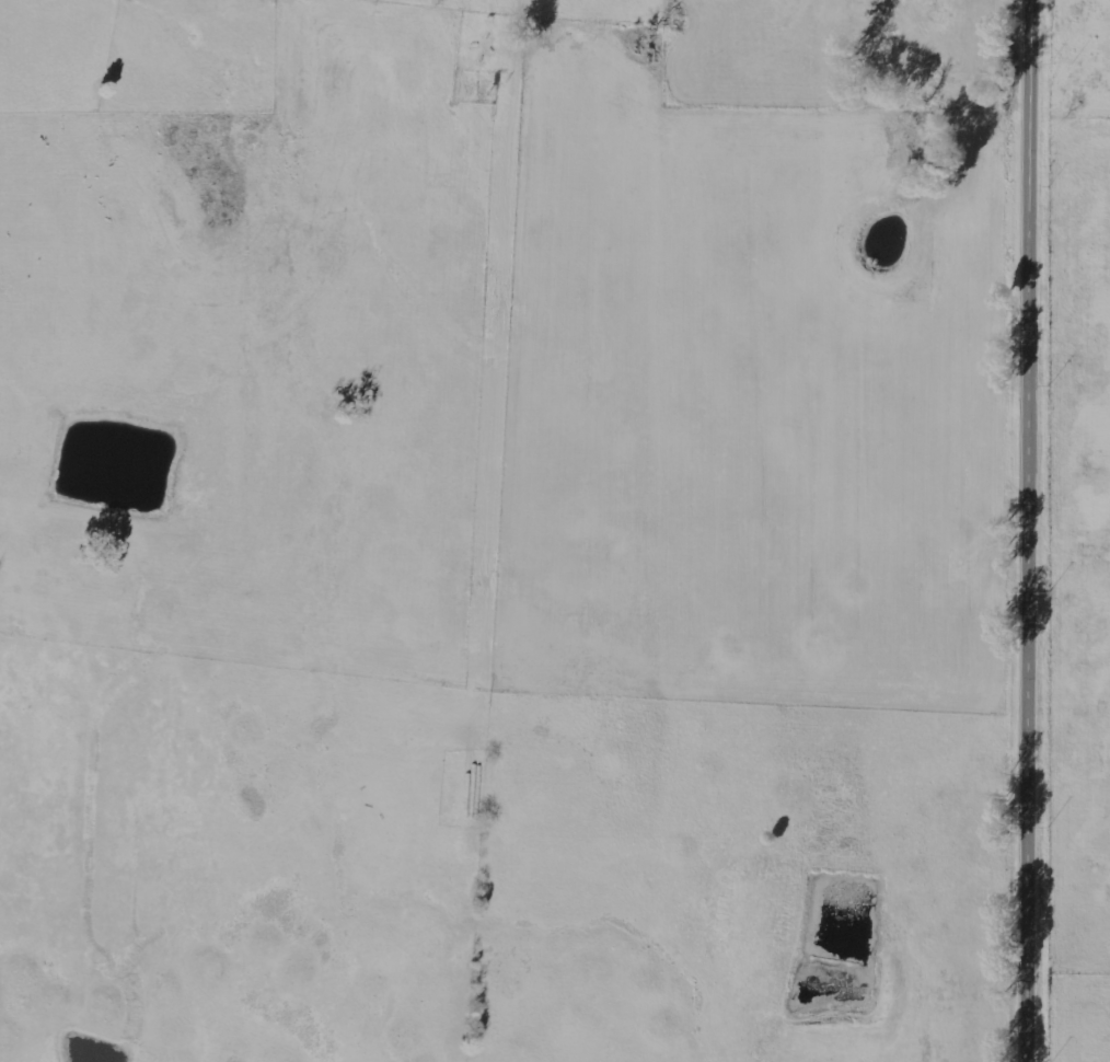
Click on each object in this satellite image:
road: (1033, 531)

